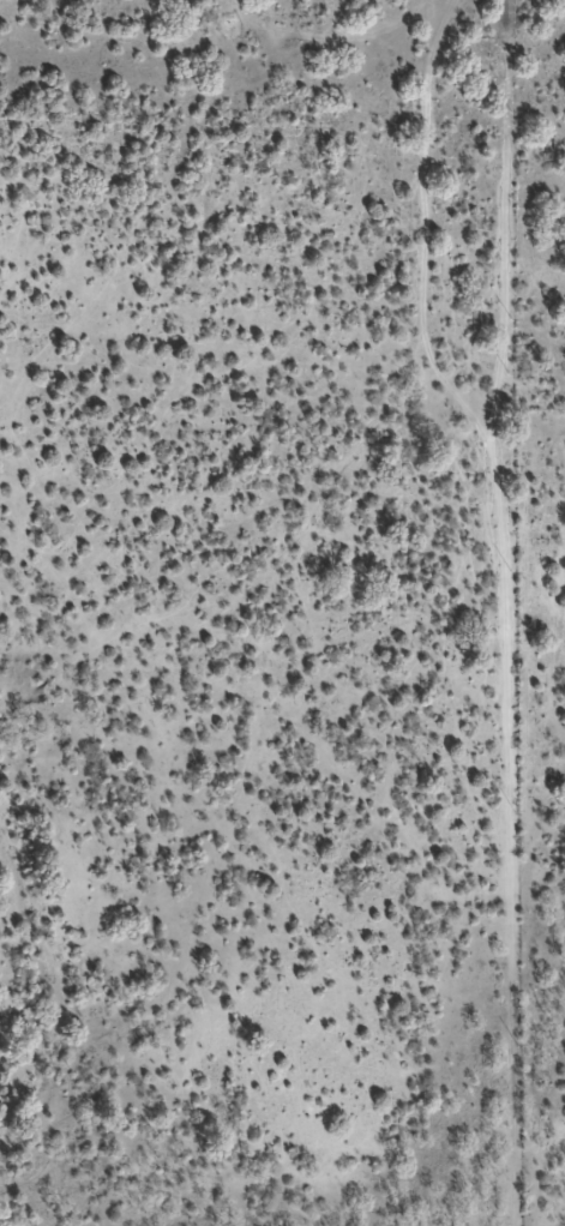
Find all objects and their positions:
road: (473, 373)

